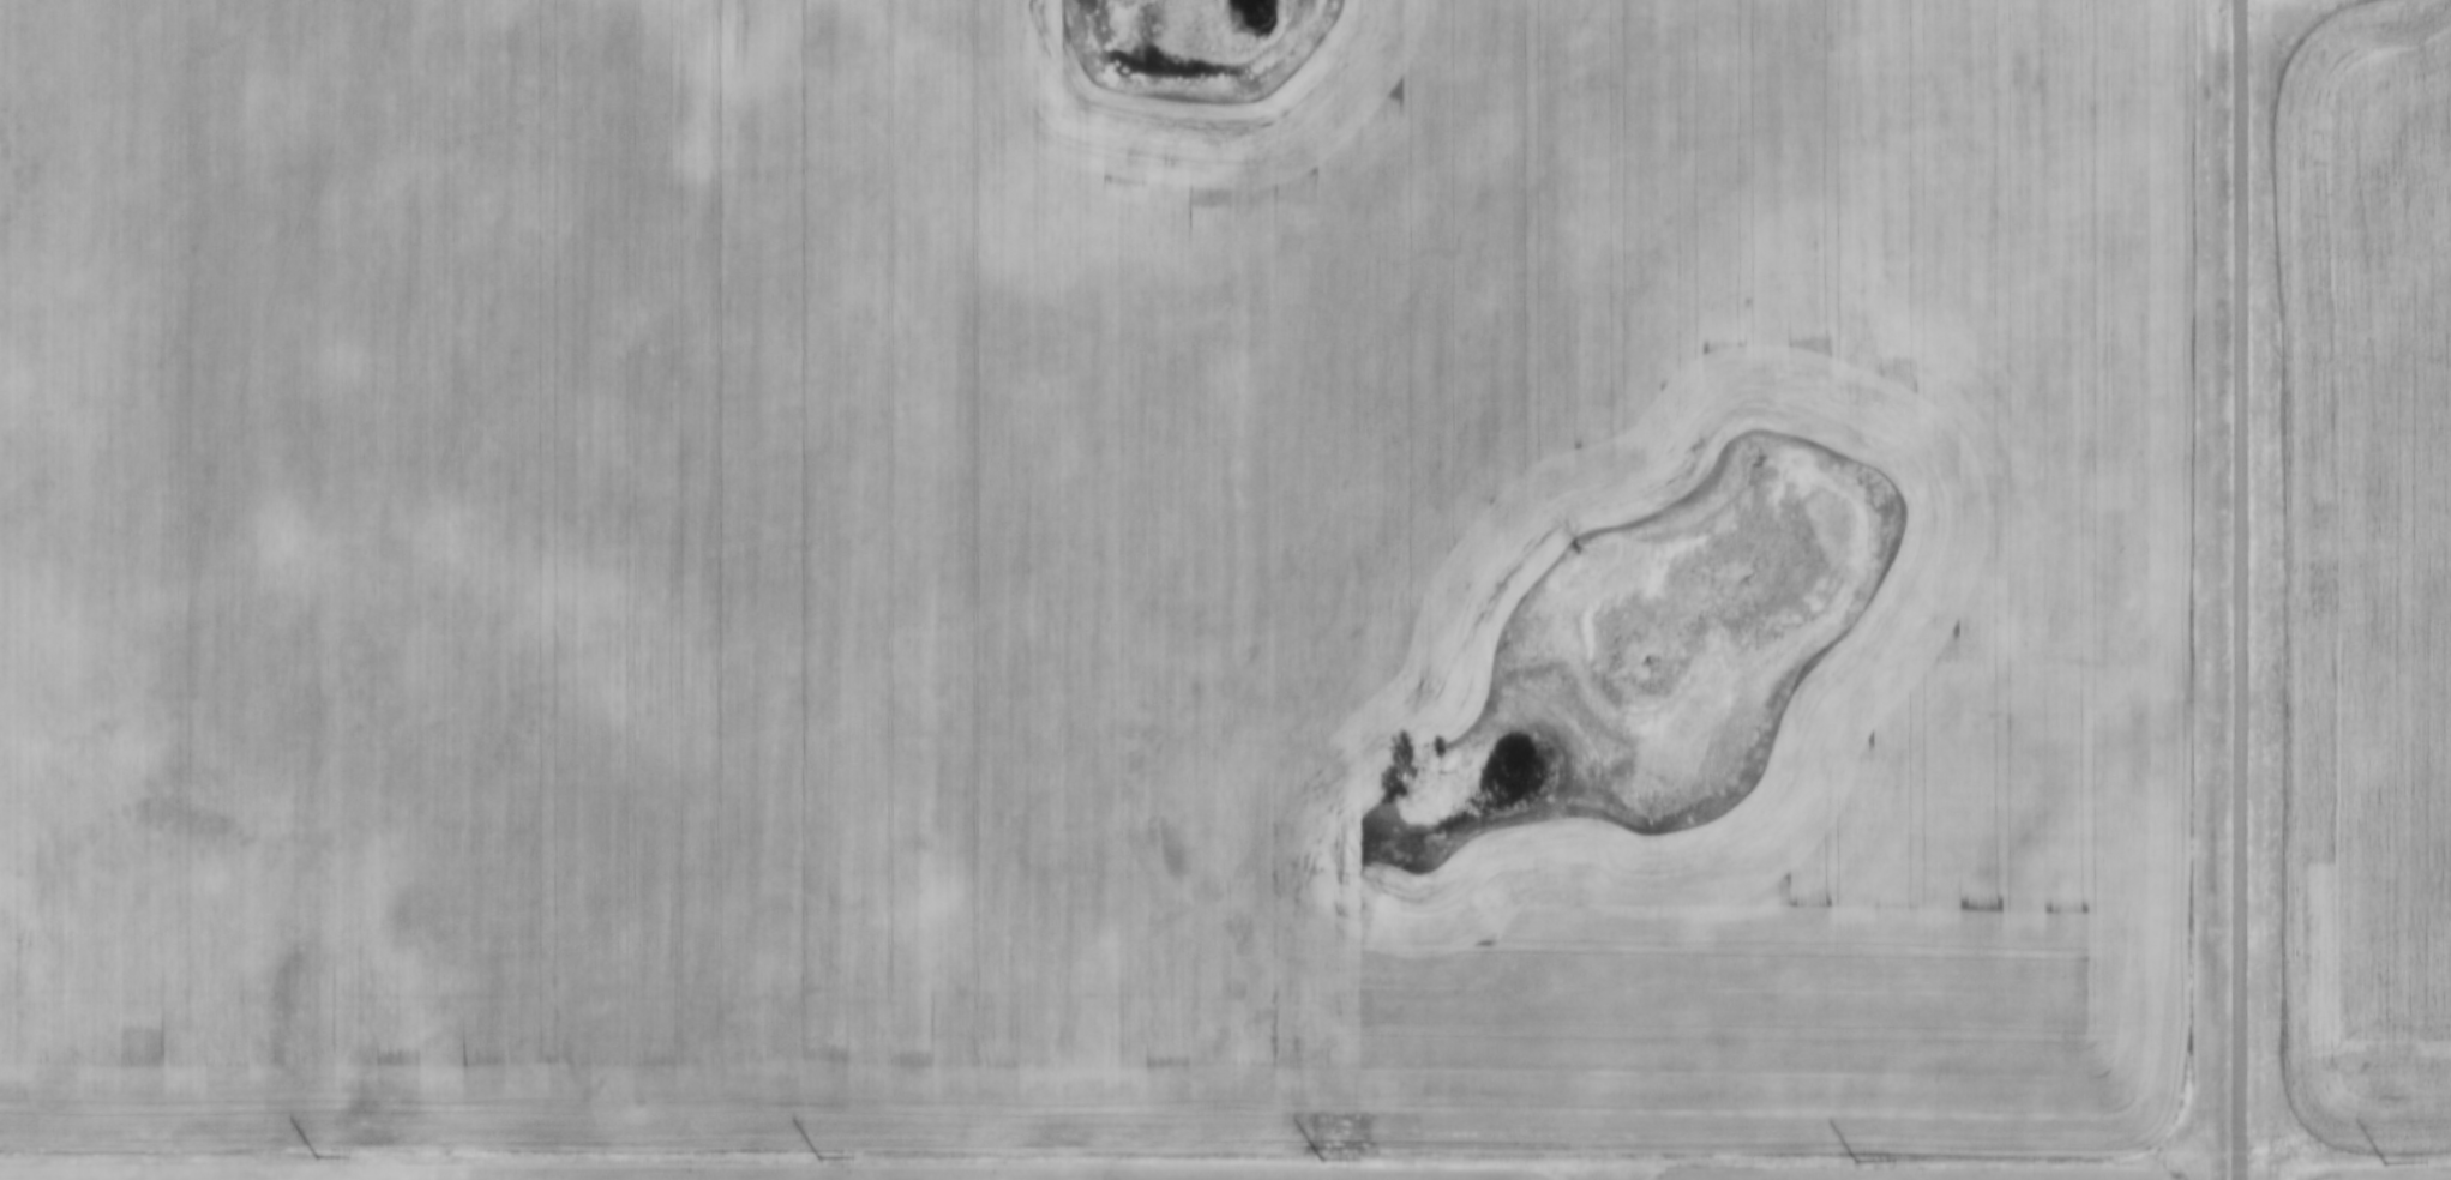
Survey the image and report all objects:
road: (2240, 590)

